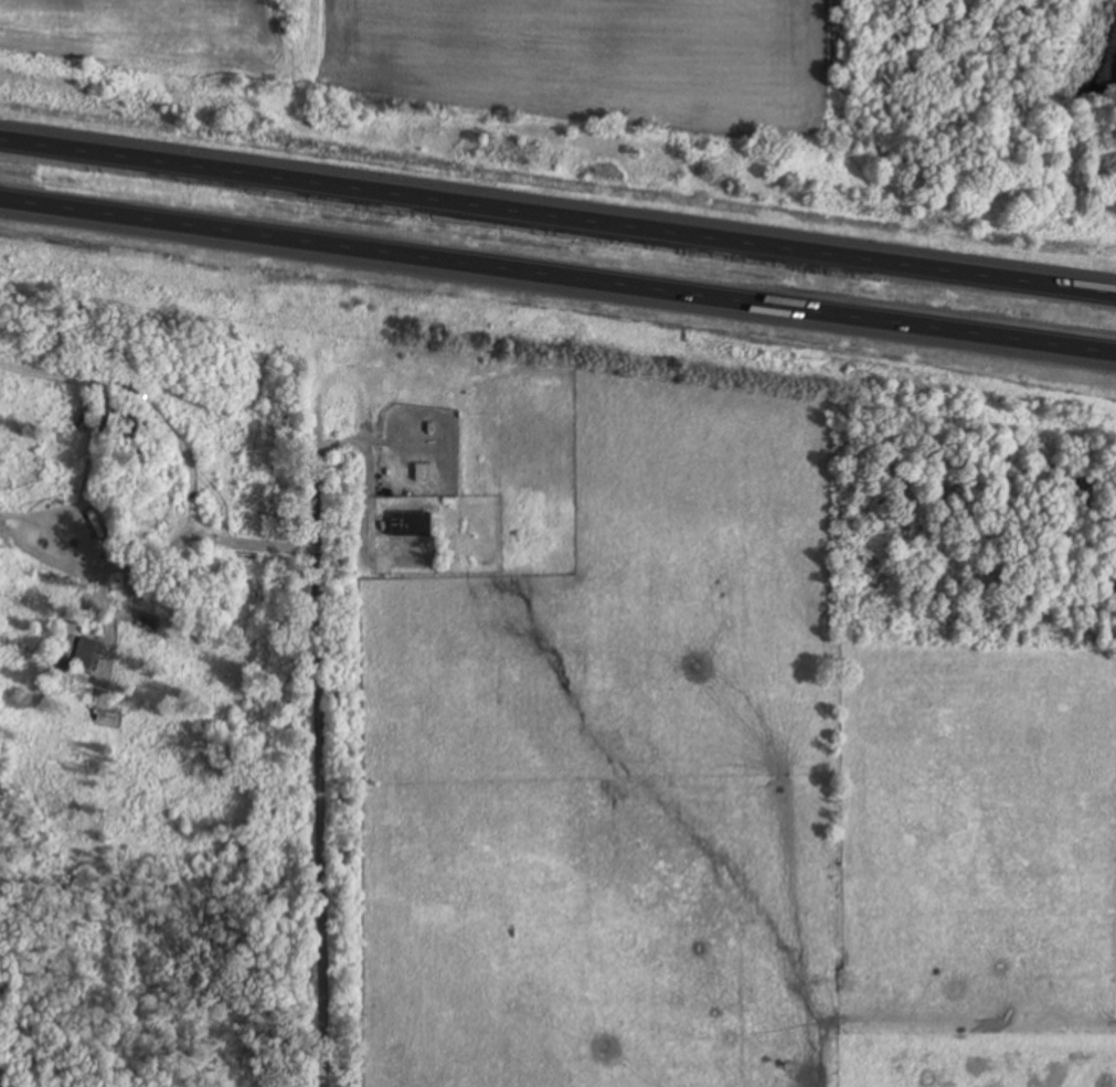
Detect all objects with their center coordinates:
crop: (485, 53)
road: (557, 212)
road: (557, 286)
building: (424, 472)
building: (411, 524)
road: (321, 785)

